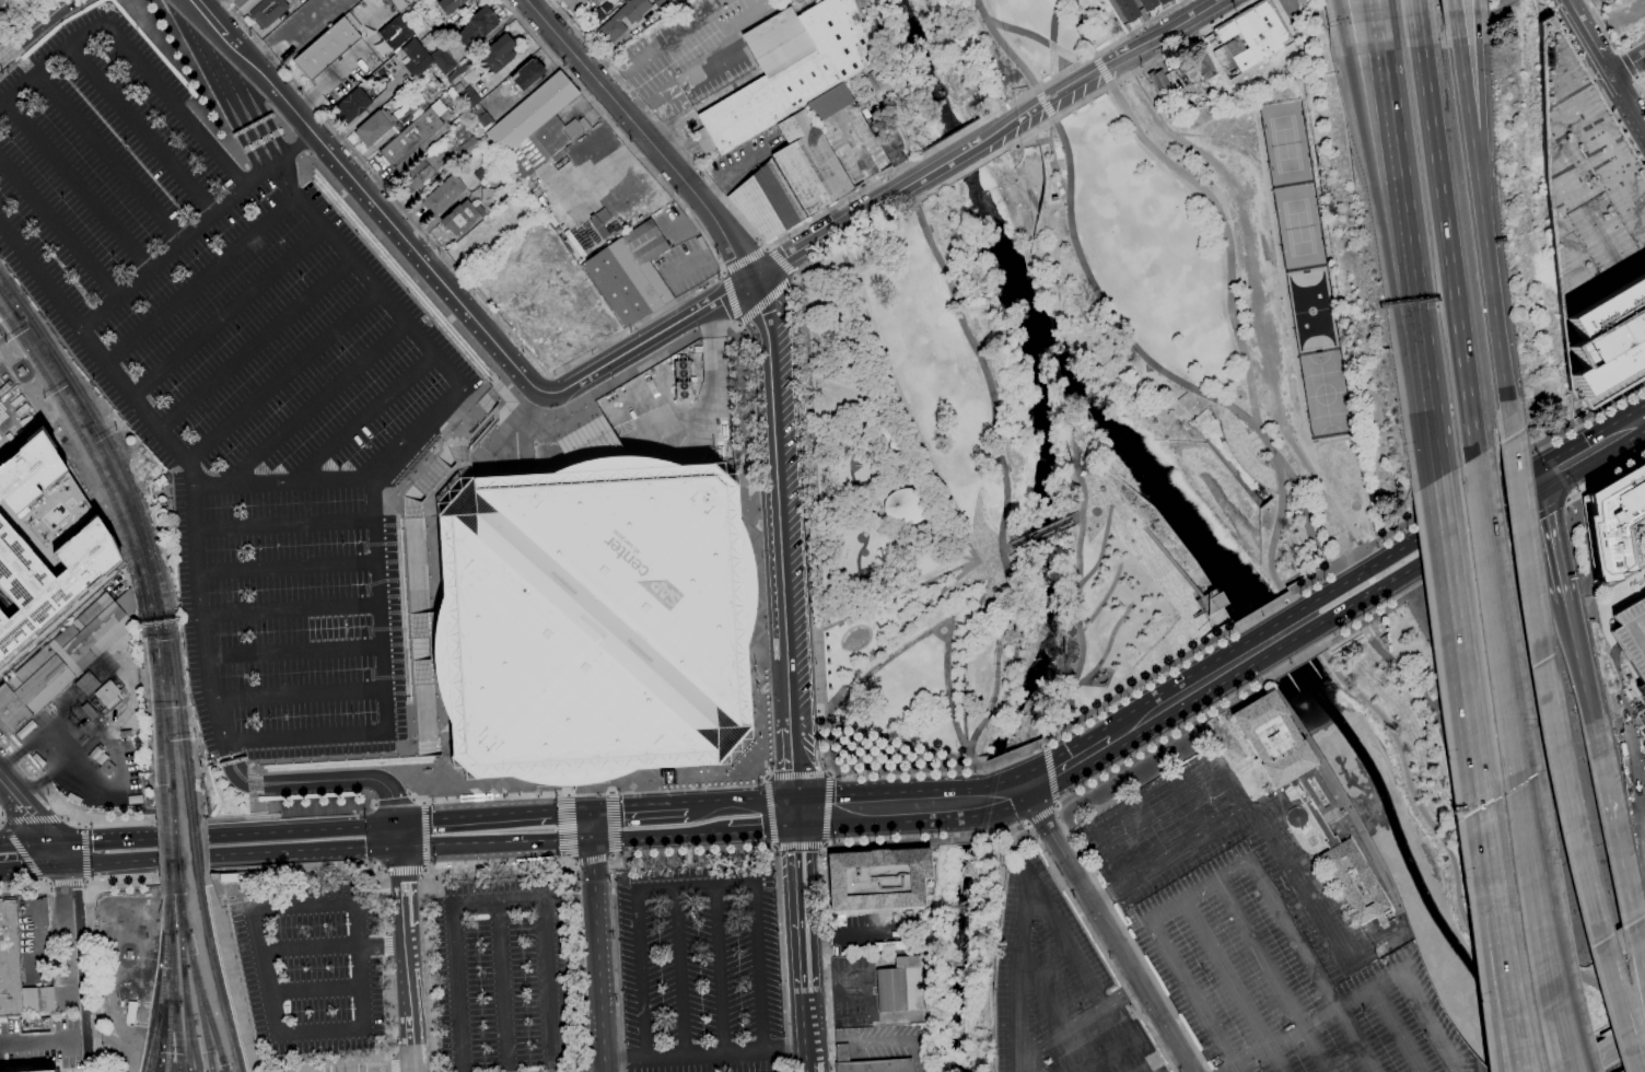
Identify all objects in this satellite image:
building: (1164, 1)
building: (2, 2)
building: (245, 4)
building: (398, 4)
building: (573, 4)
building: (1148, 4)
road: (1474, 4)
building: (450, 5)
building: (663, 5)
road: (1452, 5)
building: (606, 7)
road: (1414, 7)
building: (1128, 9)
road: (1381, 9)
building: (267, 11)
road: (1340, 11)
building: (406, 12)
building: (598, 16)
road: (20, 18)
road: (209, 19)
building: (612, 22)
building: (478, 25)
road: (34, 30)
road: (1083, 30)
building: (1256, 33)
building: (394, 34)
road: (1035, 37)
road: (1053, 38)
road: (1594, 38)
road: (1611, 38)
road: (1182, 43)
road: (1007, 46)
building: (327, 48)
building: (498, 54)
road: (129, 55)
building: (416, 57)
road: (1089, 57)
building: (444, 59)
road: (1107, 60)
building: (1193, 67)
road: (1627, 67)
road: (1631, 67)
road: (27, 68)
road: (10, 69)
building: (789, 70)
road: (1101, 70)
building: (527, 74)
road: (1641, 79)
building: (875, 81)
road: (231, 83)
building: (1160, 83)
road: (1595, 83)
road: (201, 84)
road: (1641, 88)
road: (1480, 94)
road: (1040, 95)
road: (1466, 95)
building: (468, 97)
road: (1631, 101)
building: (829, 102)
building: (352, 105)
road: (1047, 107)
road: (1058, 117)
building: (483, 118)
toll booth: (253, 127)
building: (374, 127)
building: (537, 127)
road: (142, 130)
building: (413, 133)
road: (1186, 133)
road: (644, 136)
road: (953, 137)
park: (1285, 143)
road: (302, 148)
building: (468, 148)
road: (959, 154)
road: (109, 159)
road: (861, 160)
building: (809, 164)
building: (423, 168)
road: (966, 172)
building: (481, 173)
road: (252, 175)
road: (78, 185)
road: (714, 186)
building: (1586, 188)
parking lot: (1586, 188)
building: (443, 195)
building: (489, 195)
building: (767, 201)
road: (385, 217)
building: (460, 218)
building: (599, 221)
park: (1298, 226)
road: (58, 229)
road: (835, 229)
road: (196, 231)
road: (1226, 233)
road: (1445, 234)
road: (1412, 237)
building: (574, 243)
road: (1381, 244)
road: (767, 247)
road: (745, 259)
road: (781, 261)
road: (723, 271)
building: (630, 273)
road: (795, 277)
road: (202, 279)
road: (731, 298)
road: (766, 301)
road: (1105, 303)
railway: (9, 304)
railway: (9, 306)
road: (1494, 306)
park: (1311, 310)
road: (229, 311)
road: (736, 327)
road: (1291, 335)
road: (646, 340)
building: (1609, 342)
road: (256, 343)
road: (572, 360)
road: (493, 368)
railway: (51, 370)
road: (284, 377)
parking lot: (233, 381)
building: (5, 387)
park: (1325, 393)
road: (314, 405)
road: (897, 407)
road: (362, 418)
railway: (79, 435)
road: (1265, 440)
railway: (106, 442)
road: (1594, 447)
power tower: (1071, 463)
road: (1081, 465)
road: (1444, 465)
road: (1004, 473)
road: (373, 476)
traffic signals: (1543, 477)
road: (1605, 477)
building: (160, 480)
park: (1157, 480)
road: (281, 481)
road: (777, 487)
road: (1468, 489)
railway: (116, 496)
park: (987, 505)
building: (907, 506)
road: (1281, 509)
road: (1549, 512)
road: (1075, 513)
road: (1307, 518)
road: (1076, 520)
building: (1614, 522)
railway: (132, 524)
road: (812, 524)
road: (284, 525)
road: (976, 527)
road: (1039, 529)
road: (891, 532)
road: (1041, 535)
road: (1420, 538)
road: (1556, 538)
building: (44, 540)
road: (1004, 546)
river: (1220, 546)
road: (1101, 547)
road: (1133, 547)
road: (1006, 551)
road: (1145, 552)
road: (1431, 557)
road: (1123, 558)
road: (287, 567)
road: (885, 568)
road: (197, 569)
road: (1153, 572)
road: (1426, 581)
building: (1192, 583)
road: (1077, 585)
road: (909, 589)
road: (1139, 590)
road: (1102, 601)
road: (290, 609)
railway: (144, 610)
road: (1263, 611)
building: (587, 614)
stadium: (587, 614)
road: (1272, 626)
road: (1307, 627)
road: (895, 631)
road: (938, 633)
building: (1633, 637)
parking garage: (1633, 637)
building: (1384, 638)
road: (1283, 644)
building: (1387, 648)
power tower: (1023, 649)
road: (1105, 650)
road: (292, 653)
road: (965, 655)
building: (63, 659)
road: (884, 661)
road: (1117, 661)
road: (1294, 662)
flagpole: (756, 665)
flagpole: (1106, 672)
flagpole: (1099, 674)
road: (1136, 676)
flagpole: (756, 677)
road: (1584, 677)
flagpole: (1095, 678)
road: (1470, 683)
building: (87, 684)
road: (1176, 684)
flagpole: (1106, 686)
road: (1136, 687)
flagpole: (757, 689)
building: (106, 692)
road: (296, 695)
road: (947, 696)
railway: (166, 710)
building: (89, 711)
railway: (162, 720)
railway: (180, 723)
road: (1145, 729)
building: (27, 731)
road: (765, 731)
road: (1095, 733)
road: (1513, 733)
building: (126, 734)
railway: (157, 734)
building: (1273, 738)
road: (896, 739)
road: (1160, 742)
road: (1046, 744)
road: (58, 746)
road: (791, 747)
building: (95, 753)
road: (1058, 756)
road: (1560, 756)
toll booth: (230, 757)
road: (1010, 757)
building: (102, 758)
building: (107, 768)
road: (1027, 770)
road: (798, 776)
road: (1051, 776)
road: (413, 778)
road: (1000, 781)
road: (254, 782)
road: (1227, 784)
road: (610, 791)
road: (885, 792)
road: (564, 793)
building: (1318, 793)
road: (1608, 796)
building: (74, 797)
building: (139, 799)
traffic signals: (795, 799)
road: (63, 801)
road: (395, 802)
road: (423, 802)
road: (740, 802)
road: (1020, 802)
railway: (172, 804)
railway: (873, 804)
railway: (873, 805)
road: (1057, 806)
road: (1189, 807)
road: (28, 808)
road: (266, 808)
toll booth: (268, 808)
road: (639, 808)
road: (827, 808)
road: (1422, 809)
road: (771, 811)
road: (568, 812)
traffic signals: (592, 812)
road: (987, 813)
road: (796, 814)
road: (1042, 814)
building: (1315, 814)
road: (67, 815)
road: (291, 815)
building: (1297, 817)
road: (470, 818)
road: (30, 819)
road: (0, 820)
road: (83, 822)
road: (180, 822)
traffic signals: (397, 824)
road: (611, 824)
road: (882, 824)
road: (1029, 824)
road: (1487, 824)
road: (592, 825)
road: (1269, 826)
road: (567, 827)
road: (301, 829)
road: (1010, 829)
traffic signals: (798, 830)
road: (1151, 830)
road: (763, 831)
road: (398, 835)
road: (425, 835)
road: (661, 835)
road: (180, 836)
road: (976, 837)
traffic signals: (593, 838)
road: (107, 840)
road: (495, 841)
railway: (164, 842)
traffic signals: (58, 843)
road: (28, 844)
road: (800, 844)
railway: (194, 846)
traffic signals: (400, 846)
railway: (175, 847)
road: (20, 849)
road: (303, 850)
road: (700, 850)
road: (85, 852)
road: (1112, 853)
building: (1369, 853)
road: (60, 854)
road: (614, 854)
road: (182, 857)
road: (610, 857)
road: (568, 860)
road: (593, 860)
road: (110, 862)
road: (573, 863)
traffic signals: (63, 865)
road: (32, 867)
road: (383, 869)
road: (428, 869)
road: (405, 870)
railway: (166, 871)
railway: (166, 871)
road: (425, 871)
road: (183, 872)
road: (384, 874)
building: (227, 877)
road: (122, 878)
road: (87, 879)
road: (405, 879)
building: (878, 879)
building: (1353, 881)
road: (42, 882)
road: (84, 882)
road: (67, 883)
parking lot: (1135, 883)
railway: (212, 884)
road: (47, 885)
road: (21, 887)
road: (1200, 889)
road: (699, 890)
road: (824, 890)
road: (430, 900)
road: (503, 904)
railway: (168, 906)
railway: (182, 910)
road: (305, 910)
road: (803, 911)
road: (1631, 912)
road: (1105, 923)
road: (72, 924)
railway: (179, 925)
road: (409, 931)
road: (1130, 940)
road: (1064, 942)
road: (1101, 947)
road: (335, 949)
road: (599, 955)
railway: (163, 960)
parking lot: (311, 966)
road: (1311, 966)
road: (576, 967)
parking lot: (703, 970)
building: (17, 971)
railway: (173, 971)
road: (365, 972)
railway: (215, 974)
road: (720, 974)
road: (1017, 974)
road: (93, 976)
road: (266, 976)
road: (686, 976)
road: (1273, 976)
parking lot: (504, 980)
road: (1487, 981)
road: (1514, 981)
parking lot: (1284, 982)
railway: (170, 983)
building: (901, 984)
road: (1233, 986)
road: (502, 988)
parking lot: (1058, 988)
road: (1041, 989)
road: (318, 993)
road: (1193, 995)
road: (1564, 1006)
railway: (199, 1009)
railway: (206, 1009)
road: (413, 1010)
building: (131, 1012)
road: (1428, 1017)
road: (1644, 1018)
building: (854, 1019)
road: (1078, 1021)
road: (1314, 1022)
road: (808, 1024)
railway: (185, 1025)
railway: (189, 1025)
road: (86, 1028)
road: (1397, 1029)
road: (325, 1038)
railway: (177, 1039)
railway: (179, 1039)
road: (1562, 1040)
road: (1568, 1040)
road: (37, 1041)
road: (1599, 1046)
road: (118, 1047)
railway: (166, 1051)
building: (841, 1051)
road: (1612, 1052)
road: (394, 1054)
power tower: (925, 1056)
road: (1109, 1056)
railway: (148, 1058)
railway: (150, 1058)
road: (708, 1058)
road: (340, 1059)
road: (362, 1060)
road: (326, 1062)
road: (810, 1062)
road: (1031, 1062)
road: (395, 1064)
building: (875, 1065)
road: (1456, 1067)
road: (288, 1068)
road: (362, 1068)
road: (327, 1069)
building: (43, 1071)

